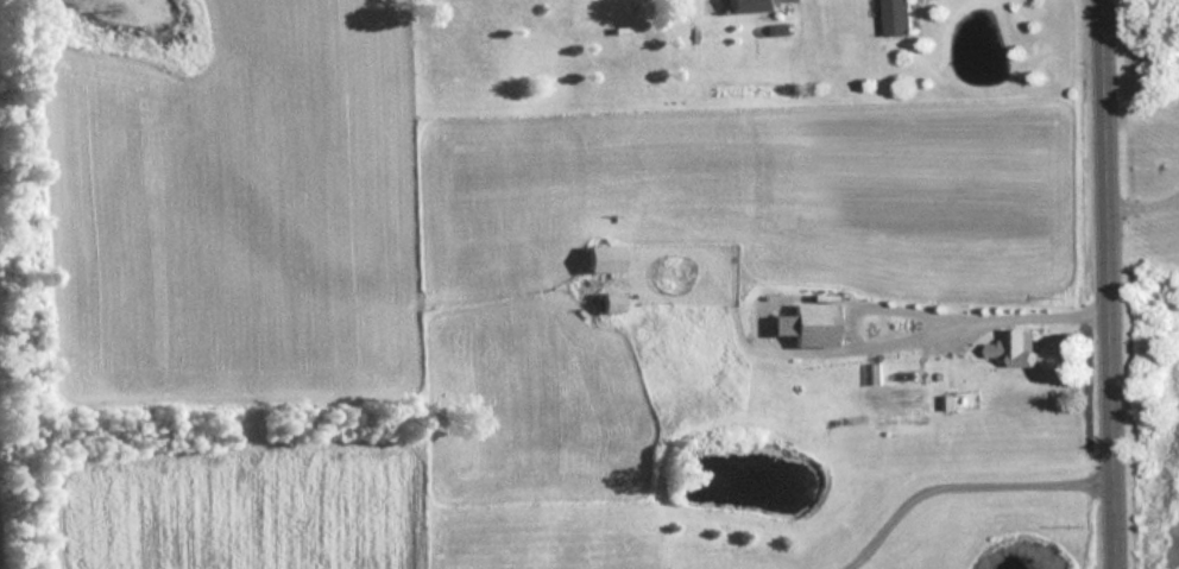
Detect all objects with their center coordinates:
building: (755, 5)
building: (899, 18)
road: (1145, 206)
building: (604, 259)
road: (1109, 284)
building: (611, 304)
road: (986, 325)
building: (806, 327)
building: (1017, 349)
road: (963, 492)

